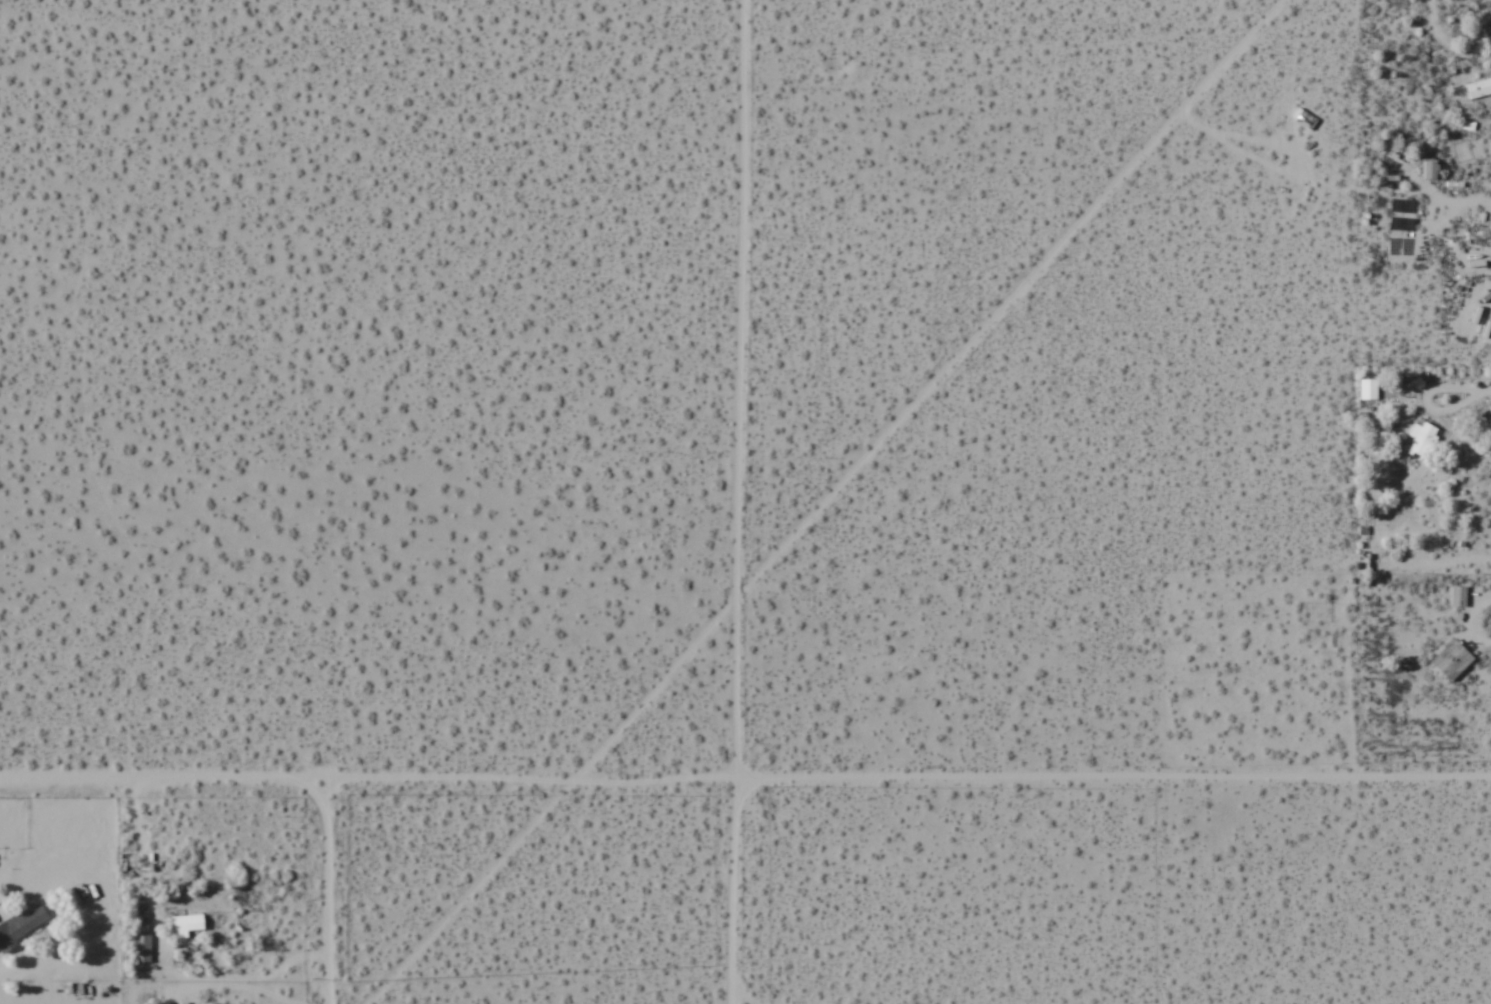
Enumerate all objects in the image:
building: (1478, 88)
building: (1430, 170)
building: (1402, 205)
building: (1367, 389)
building: (1419, 441)
road: (737, 502)
building: (1457, 595)
building: (1451, 659)
road: (745, 782)
road: (328, 894)
building: (185, 925)
building: (19, 926)
building: (140, 948)

